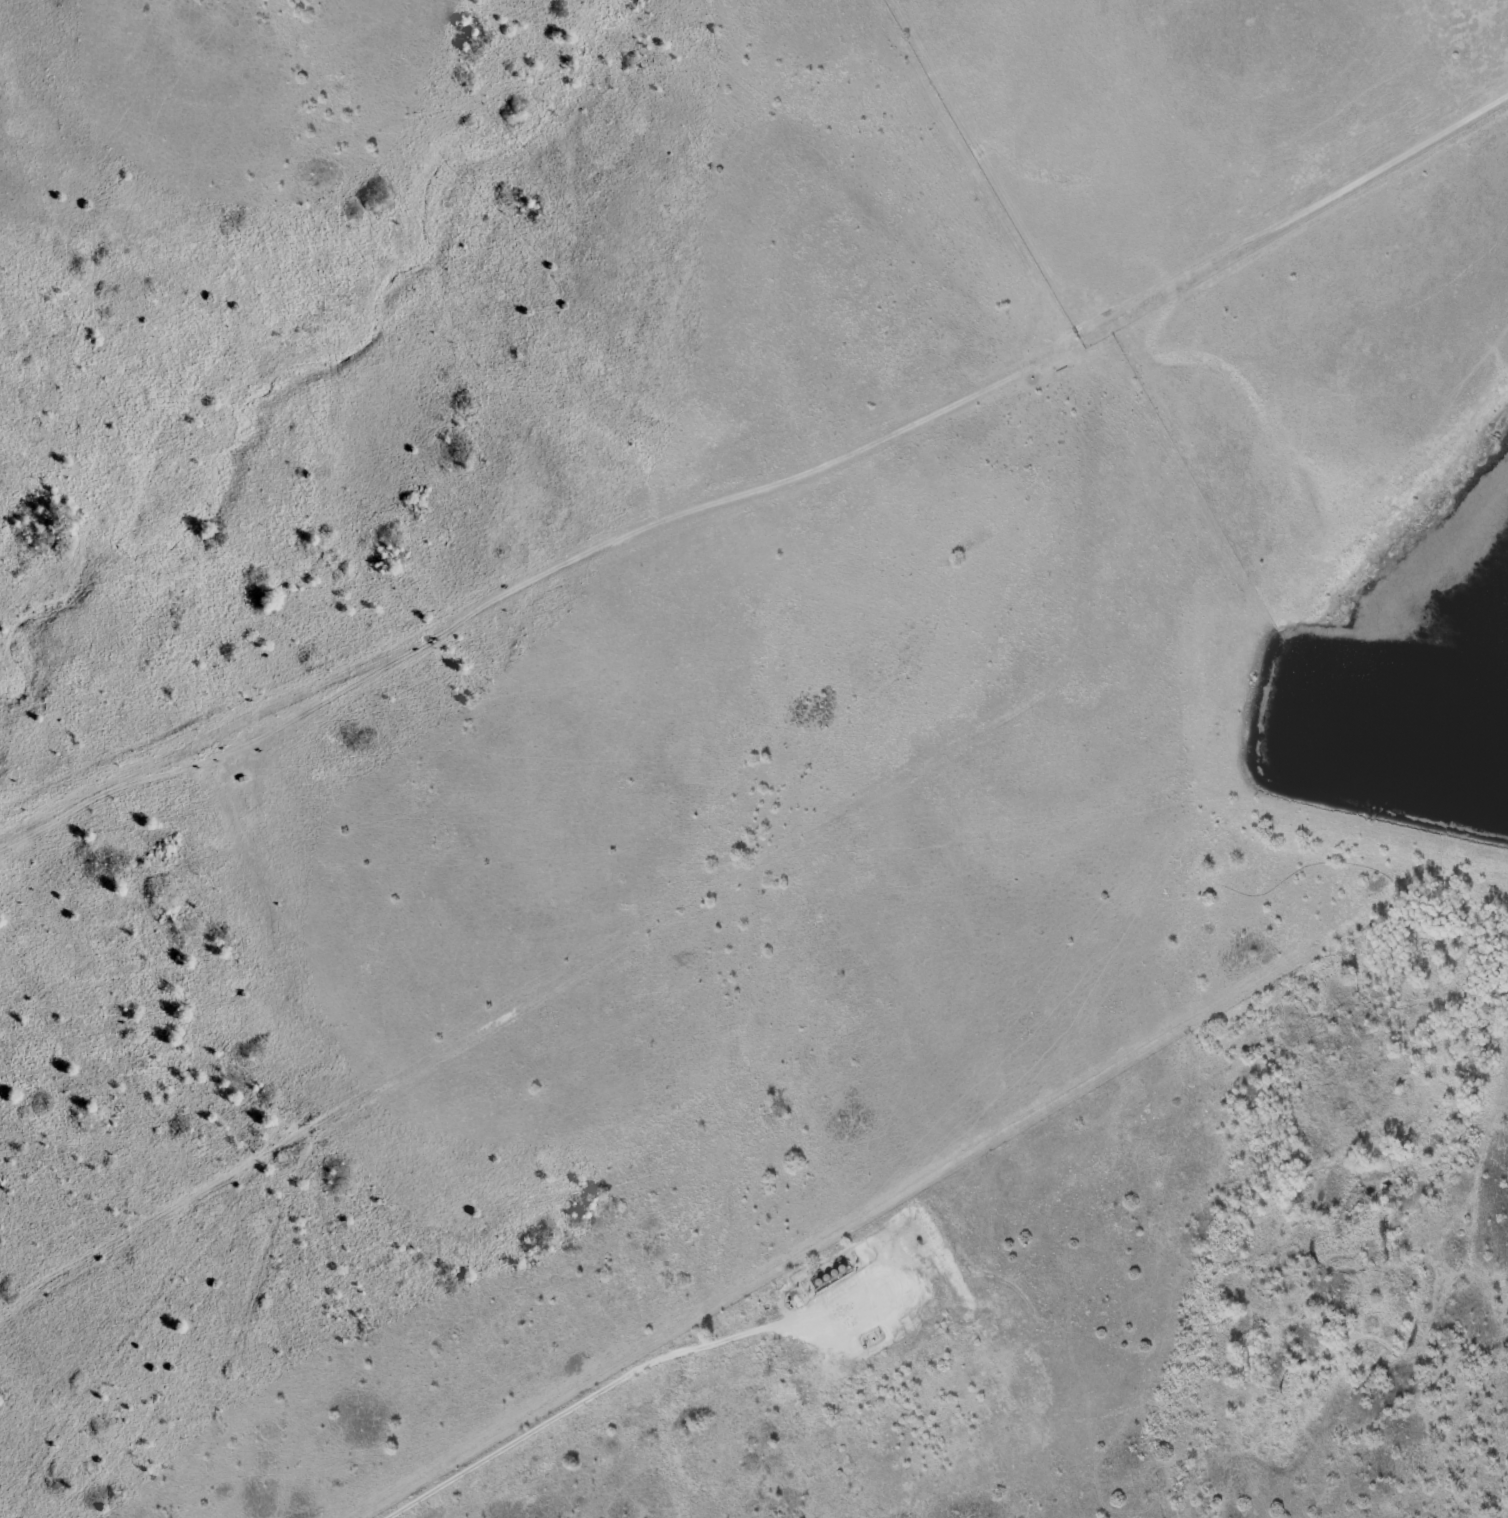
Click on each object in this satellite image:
road: (807, 156)
road: (980, 164)
road: (771, 488)
road: (581, 1399)

